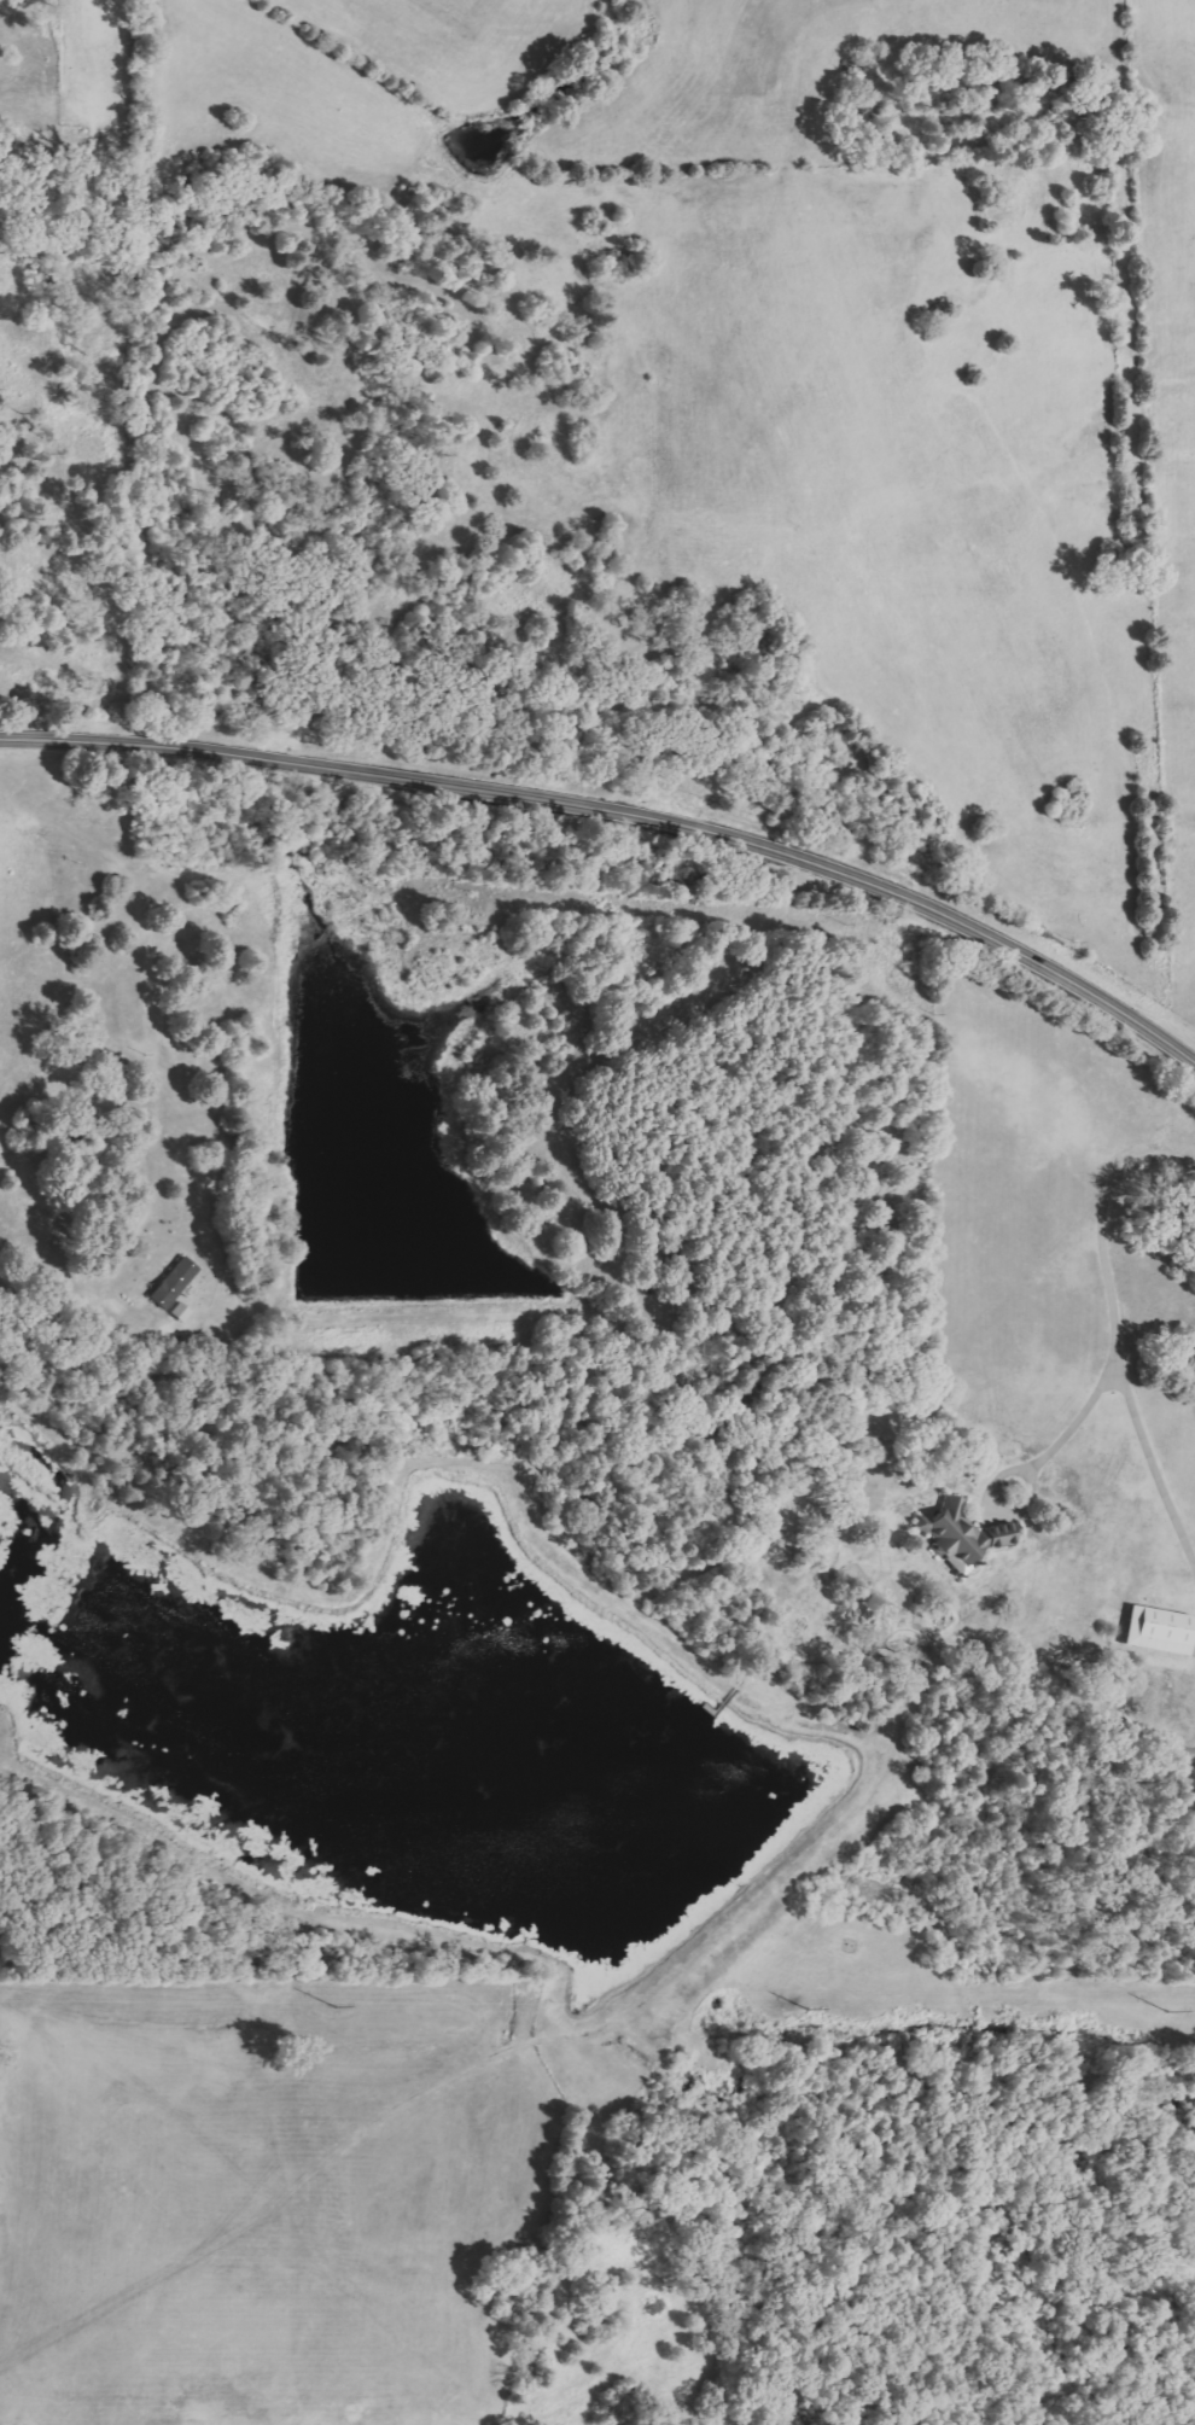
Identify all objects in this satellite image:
road: (624, 797)
building: (170, 1283)
building: (177, 1312)
building: (961, 1535)
building: (1156, 1631)
power tower: (336, 2006)
power tower: (810, 2010)
power tower: (1168, 2011)

